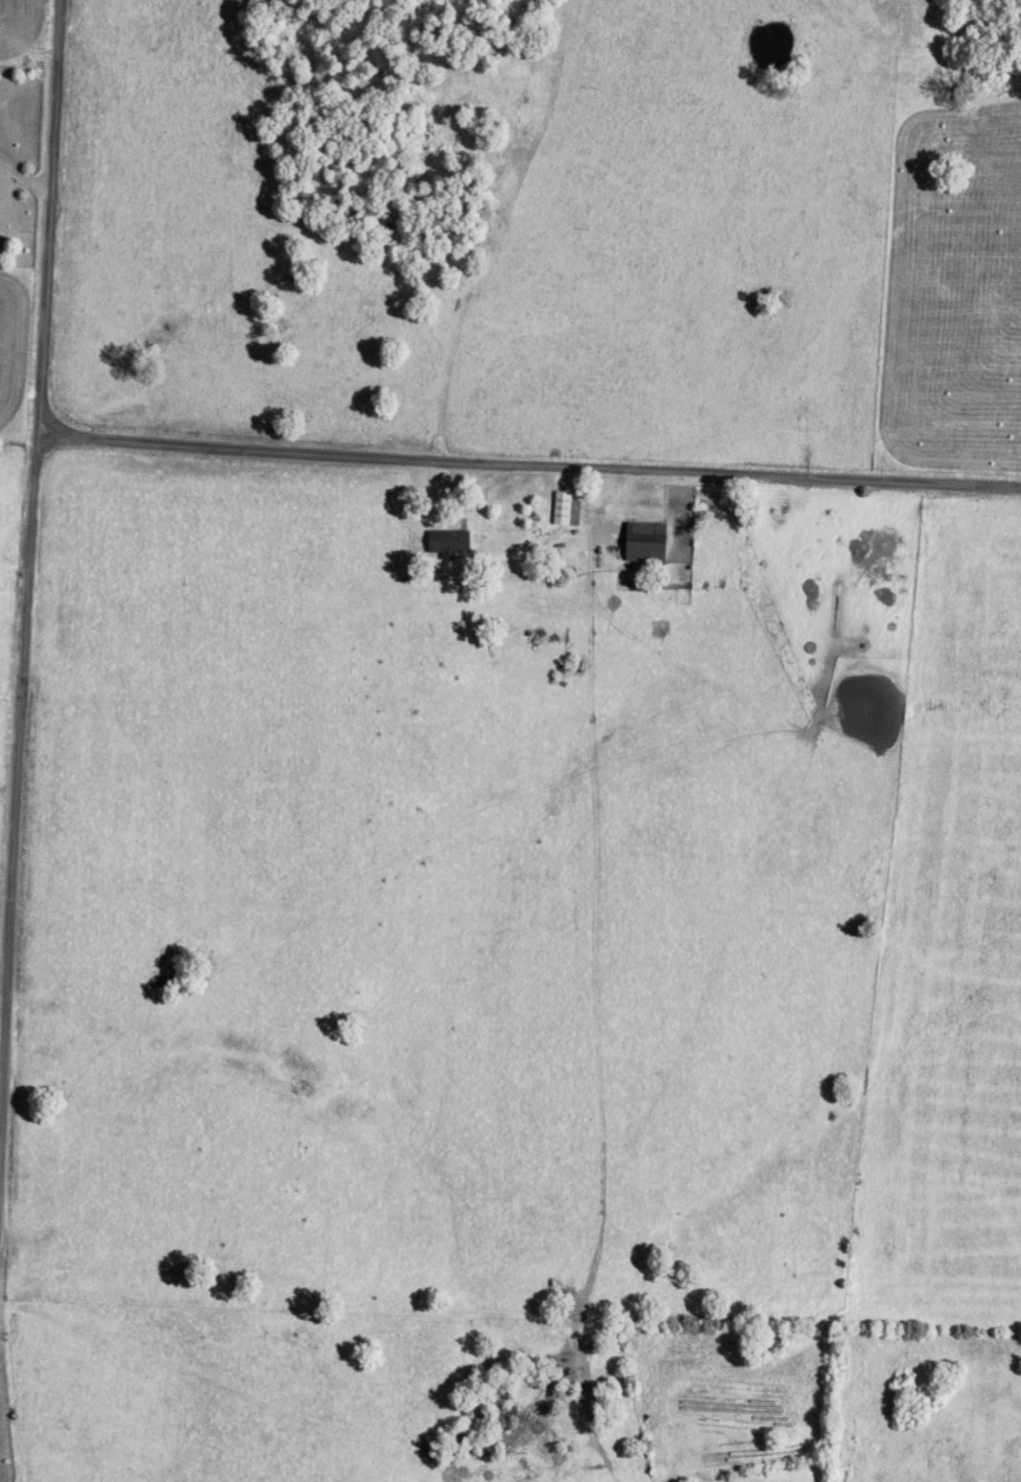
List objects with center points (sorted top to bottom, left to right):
road: (26, 178)
road: (54, 217)
road: (493, 230)
road: (531, 467)
building: (560, 511)
building: (445, 545)
building: (642, 546)
road: (19, 805)

